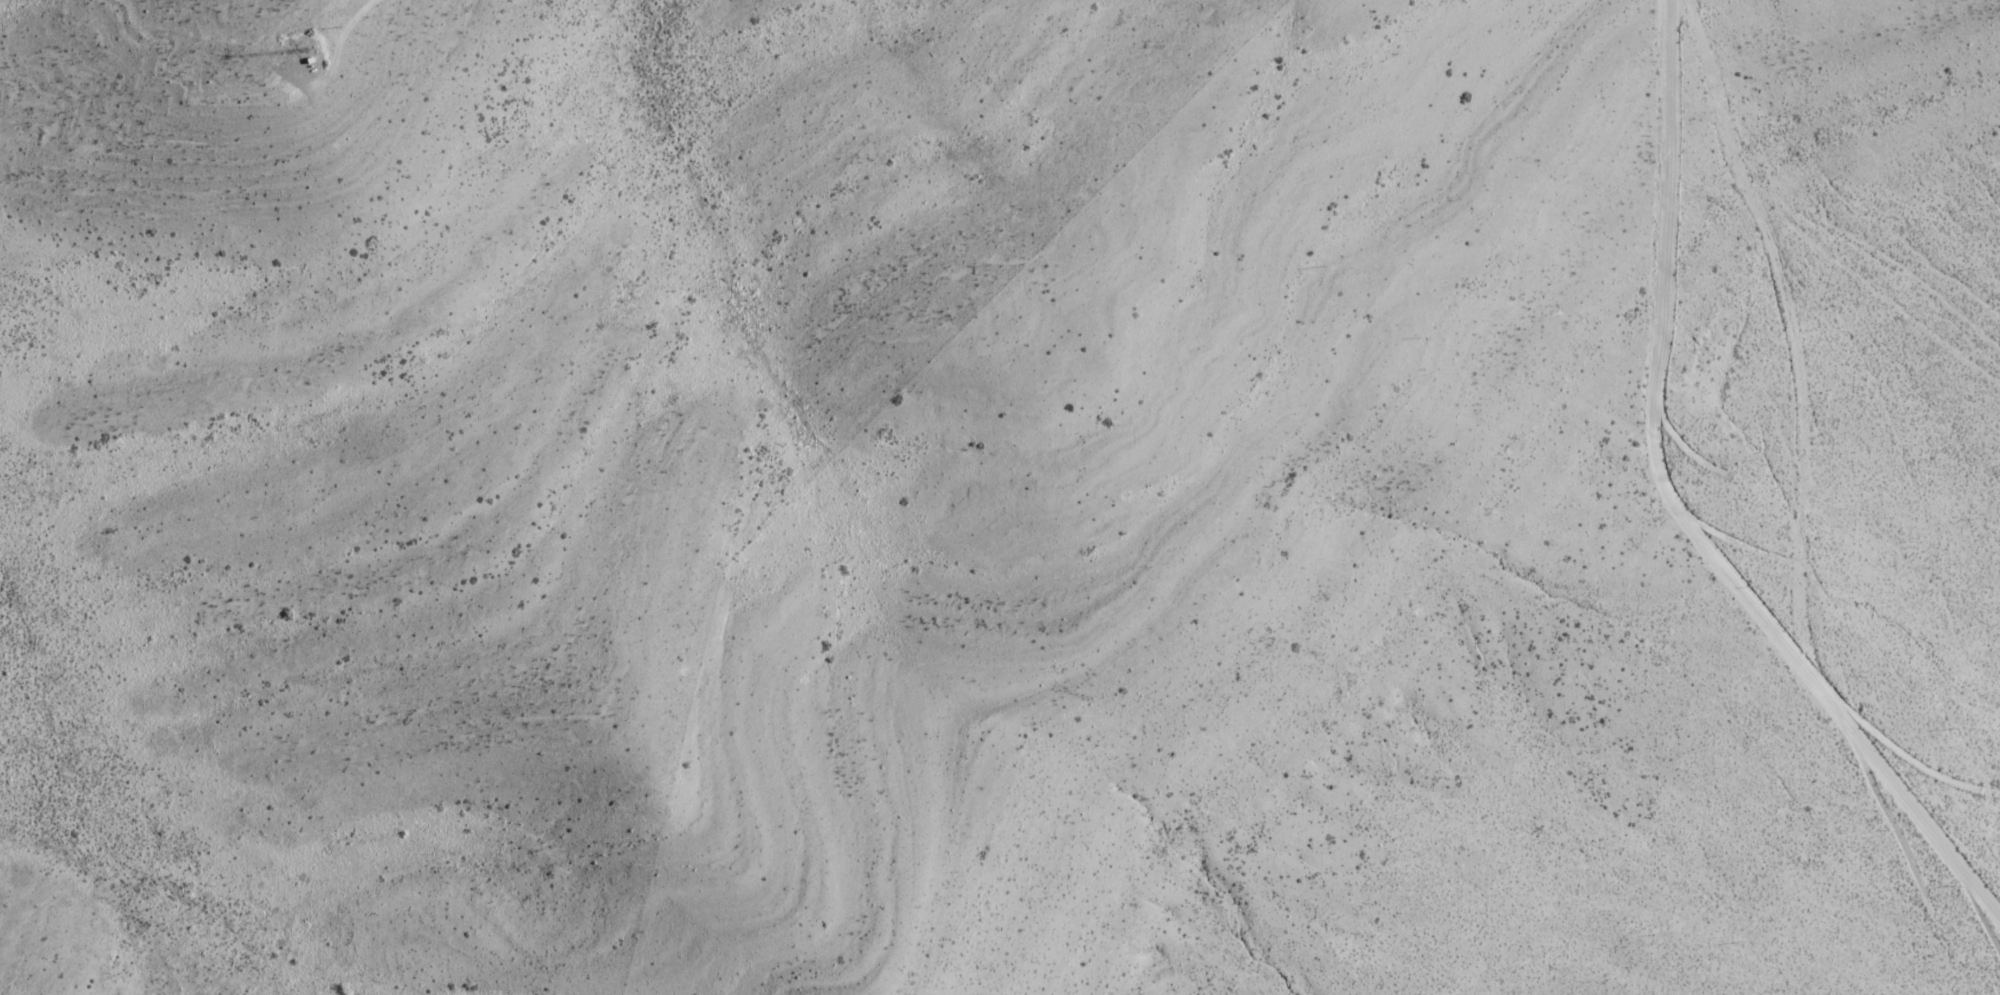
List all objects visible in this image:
road: (1676, 513)

